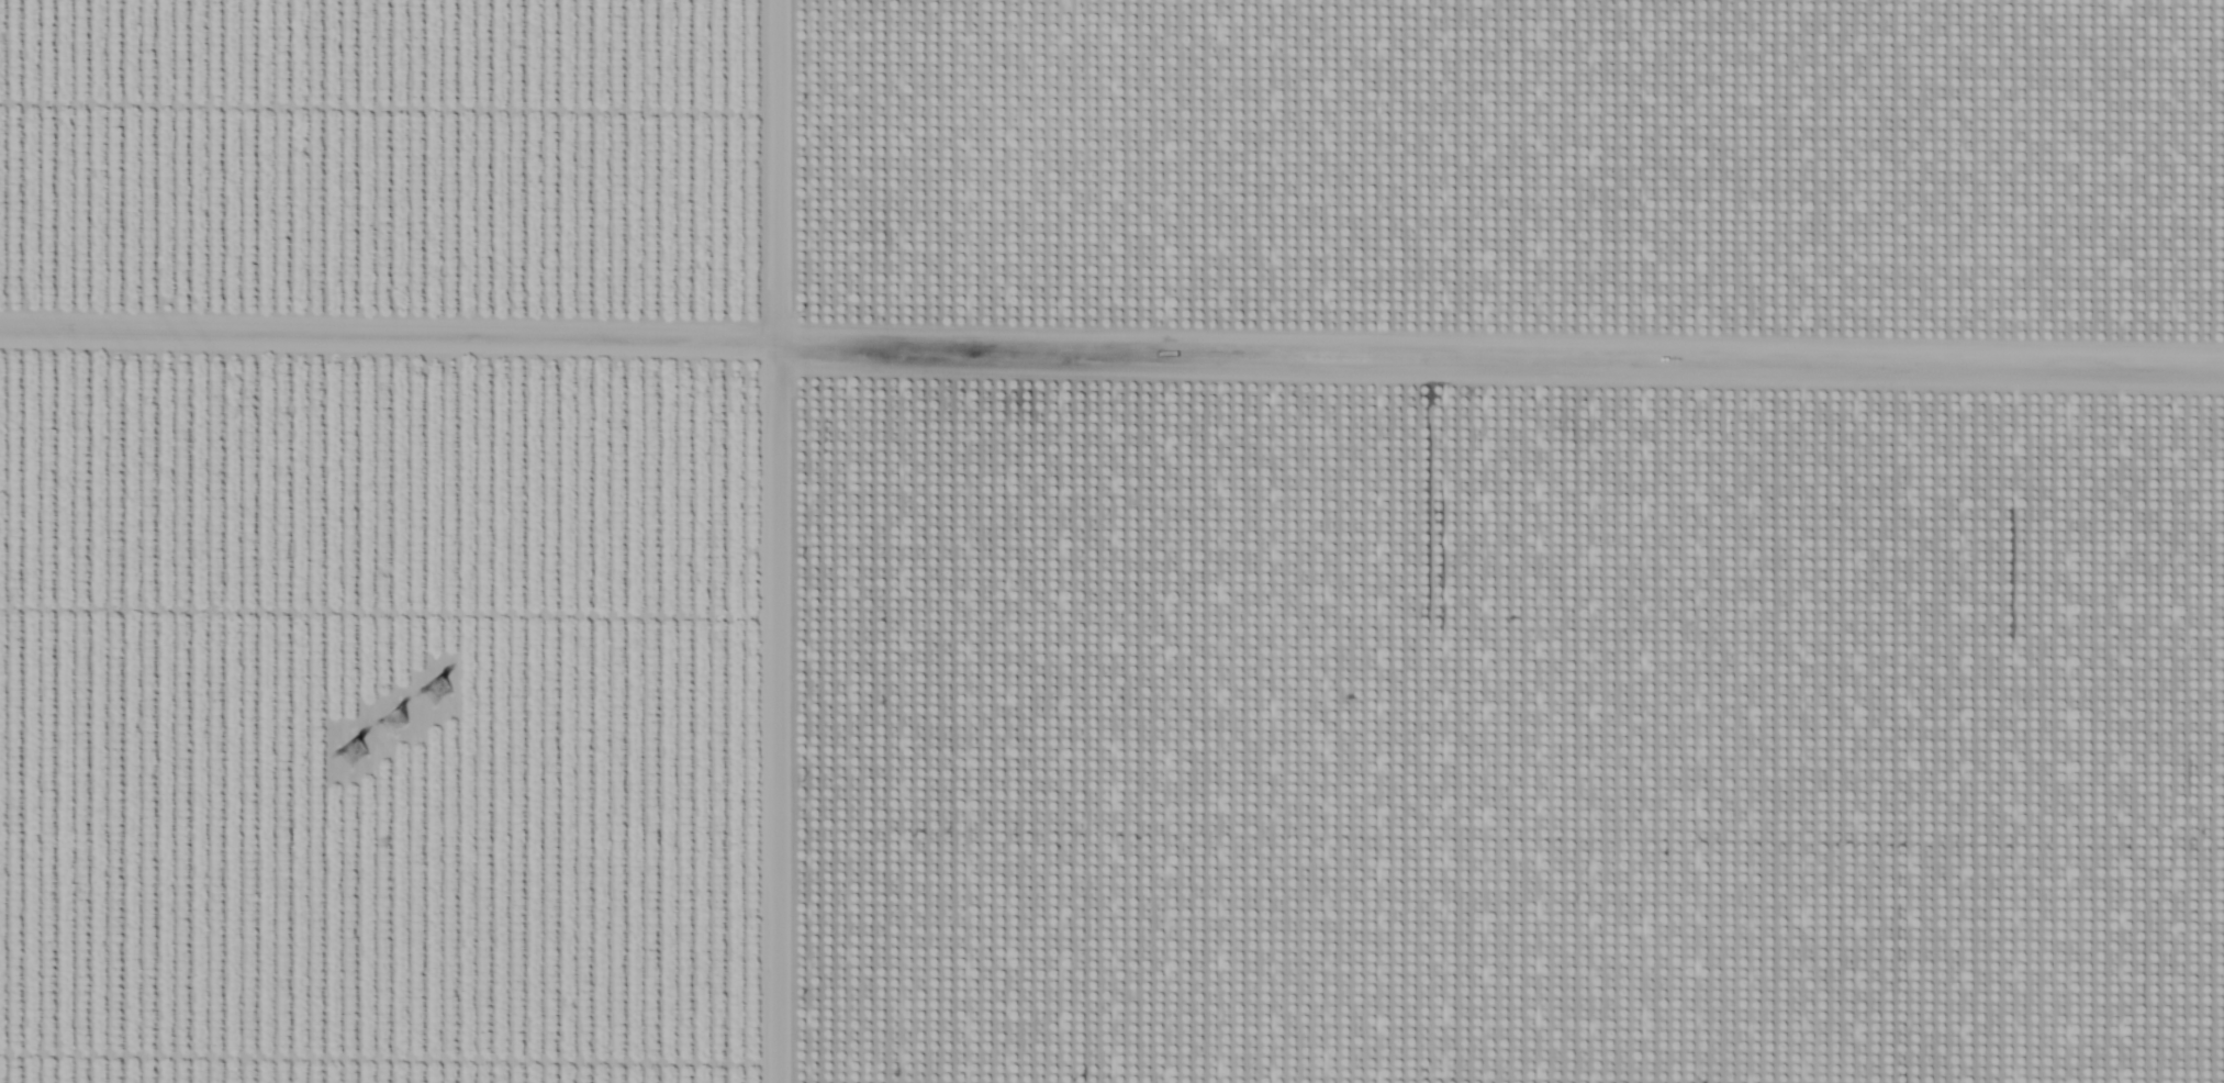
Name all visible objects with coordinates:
road: (793, 541)
power tower: (438, 688)
power tower: (399, 713)
power tower: (364, 758)

